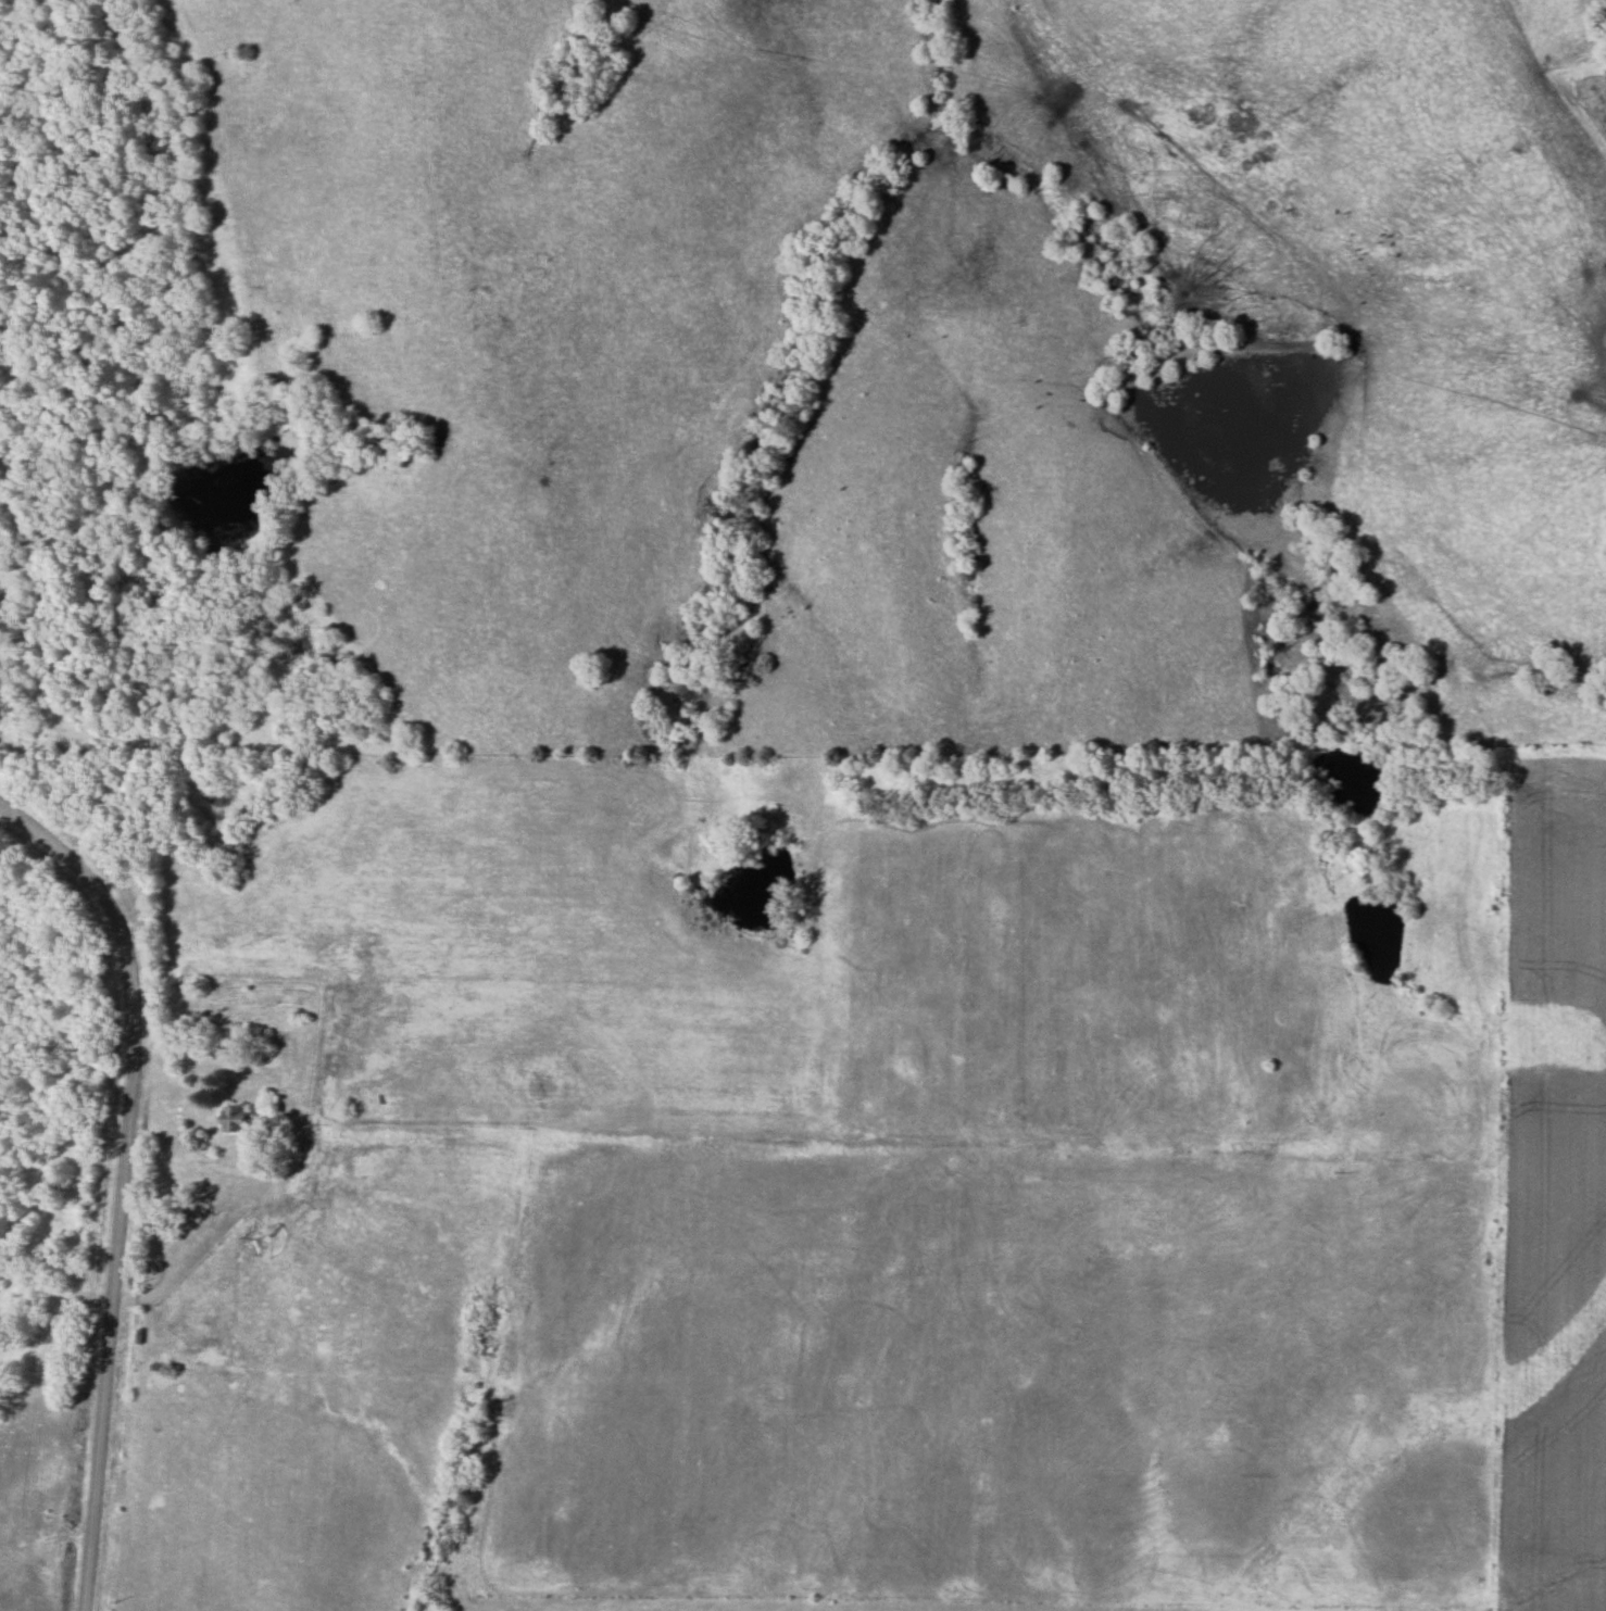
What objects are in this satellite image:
road: (121, 1180)

